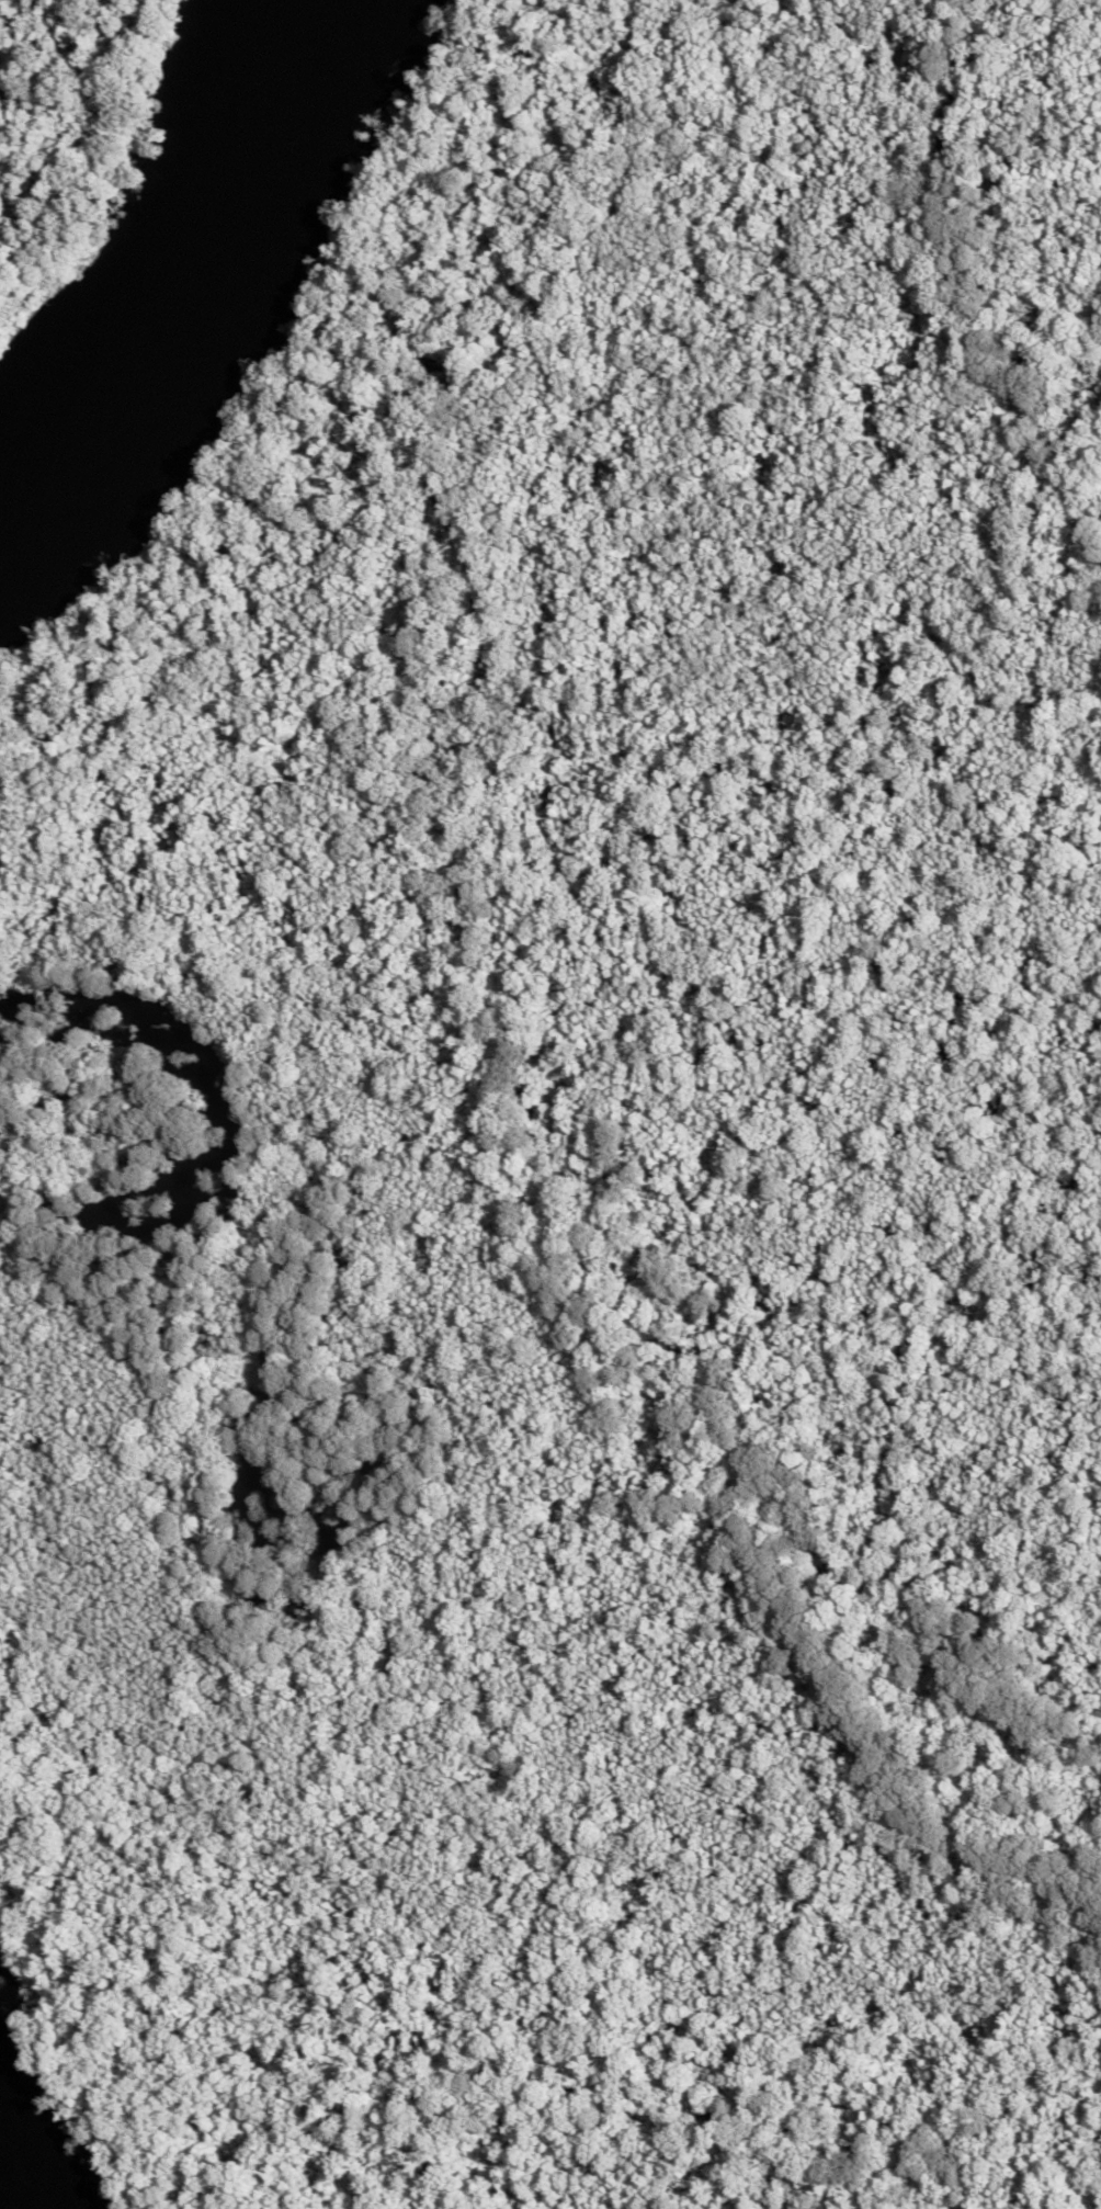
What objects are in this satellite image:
river: (252, 72)
river: (132, 302)

